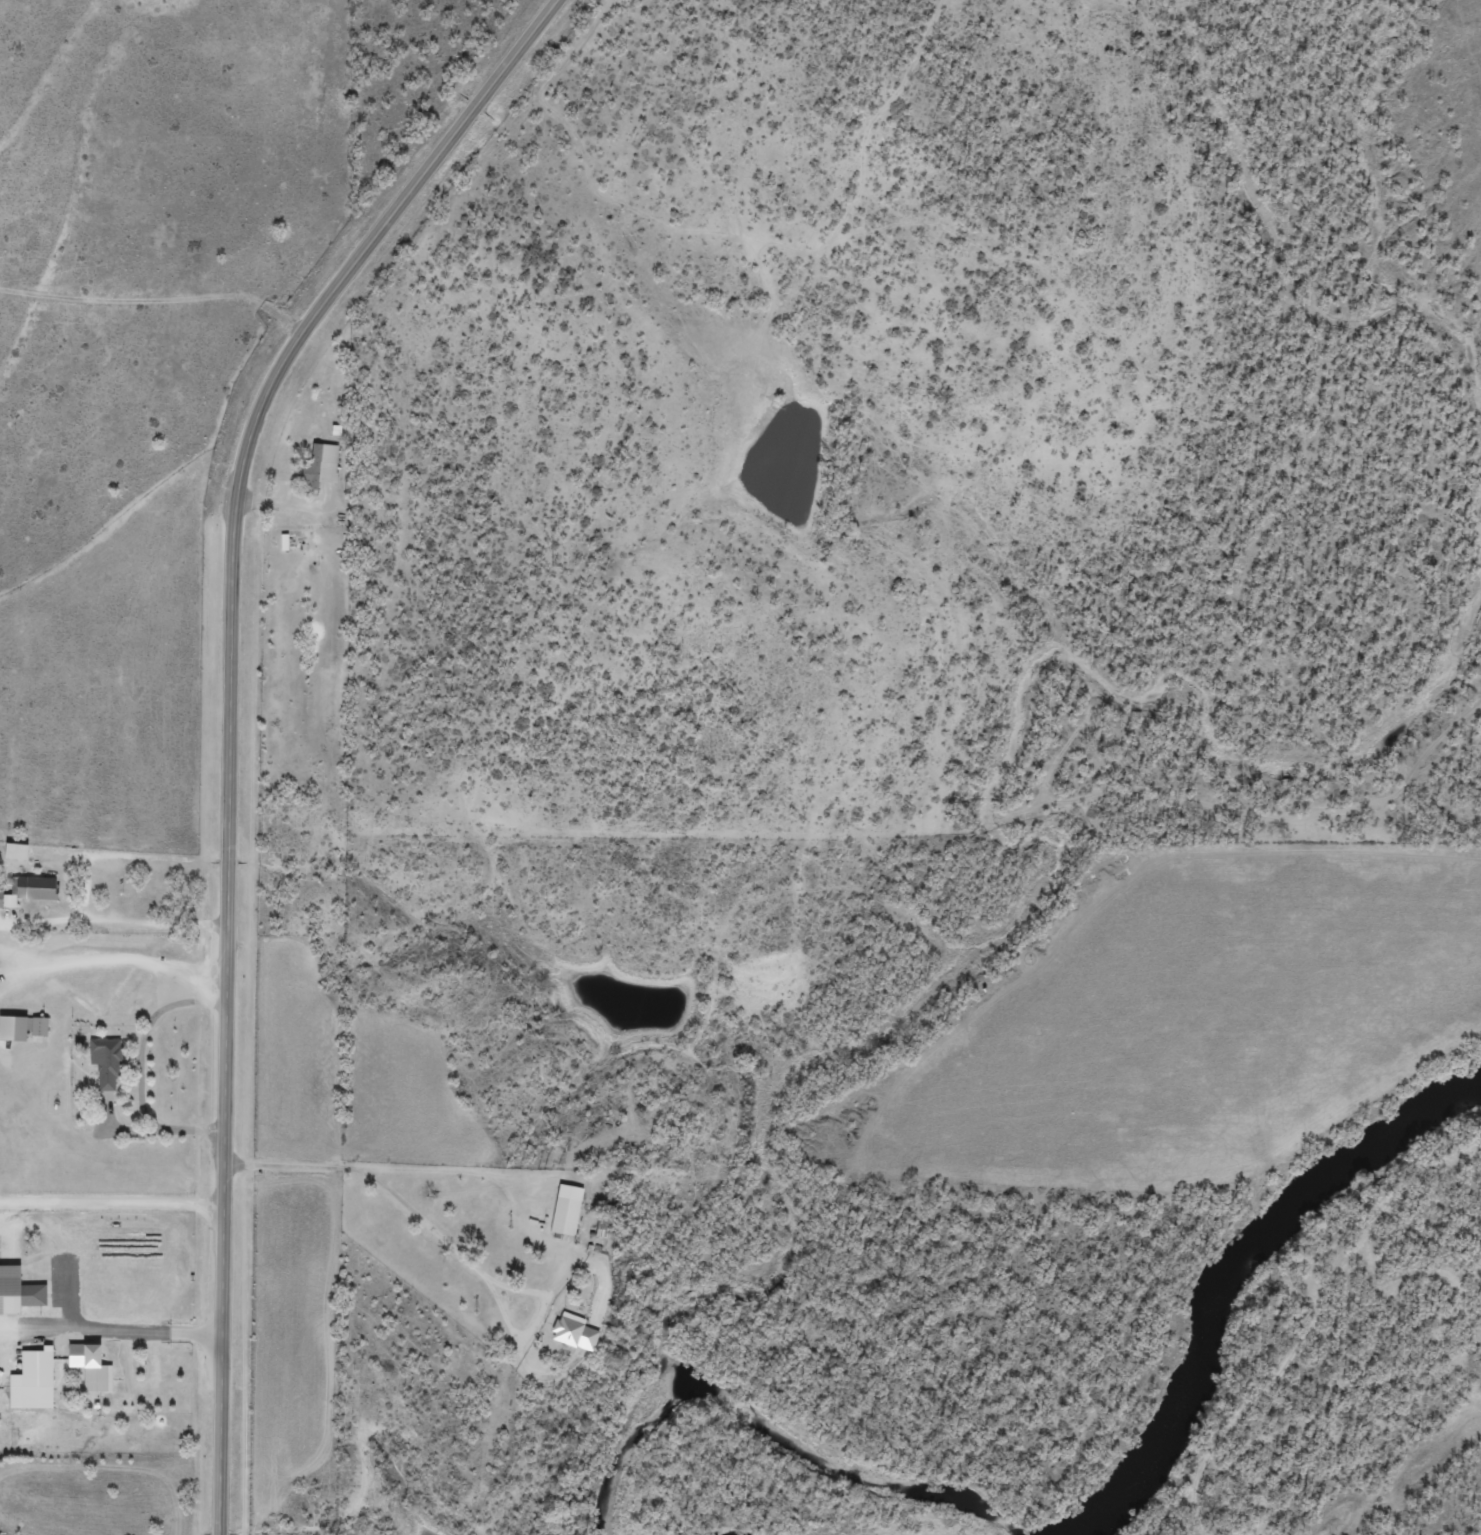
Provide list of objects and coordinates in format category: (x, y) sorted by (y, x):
building: (324, 464)
building: (287, 542)
road: (231, 717)
building: (19, 850)
building: (31, 889)
road: (114, 912)
building: (25, 1026)
building: (110, 1060)
building: (569, 1209)
building: (20, 1290)
building: (578, 1331)
building: (95, 1366)
building: (36, 1380)

